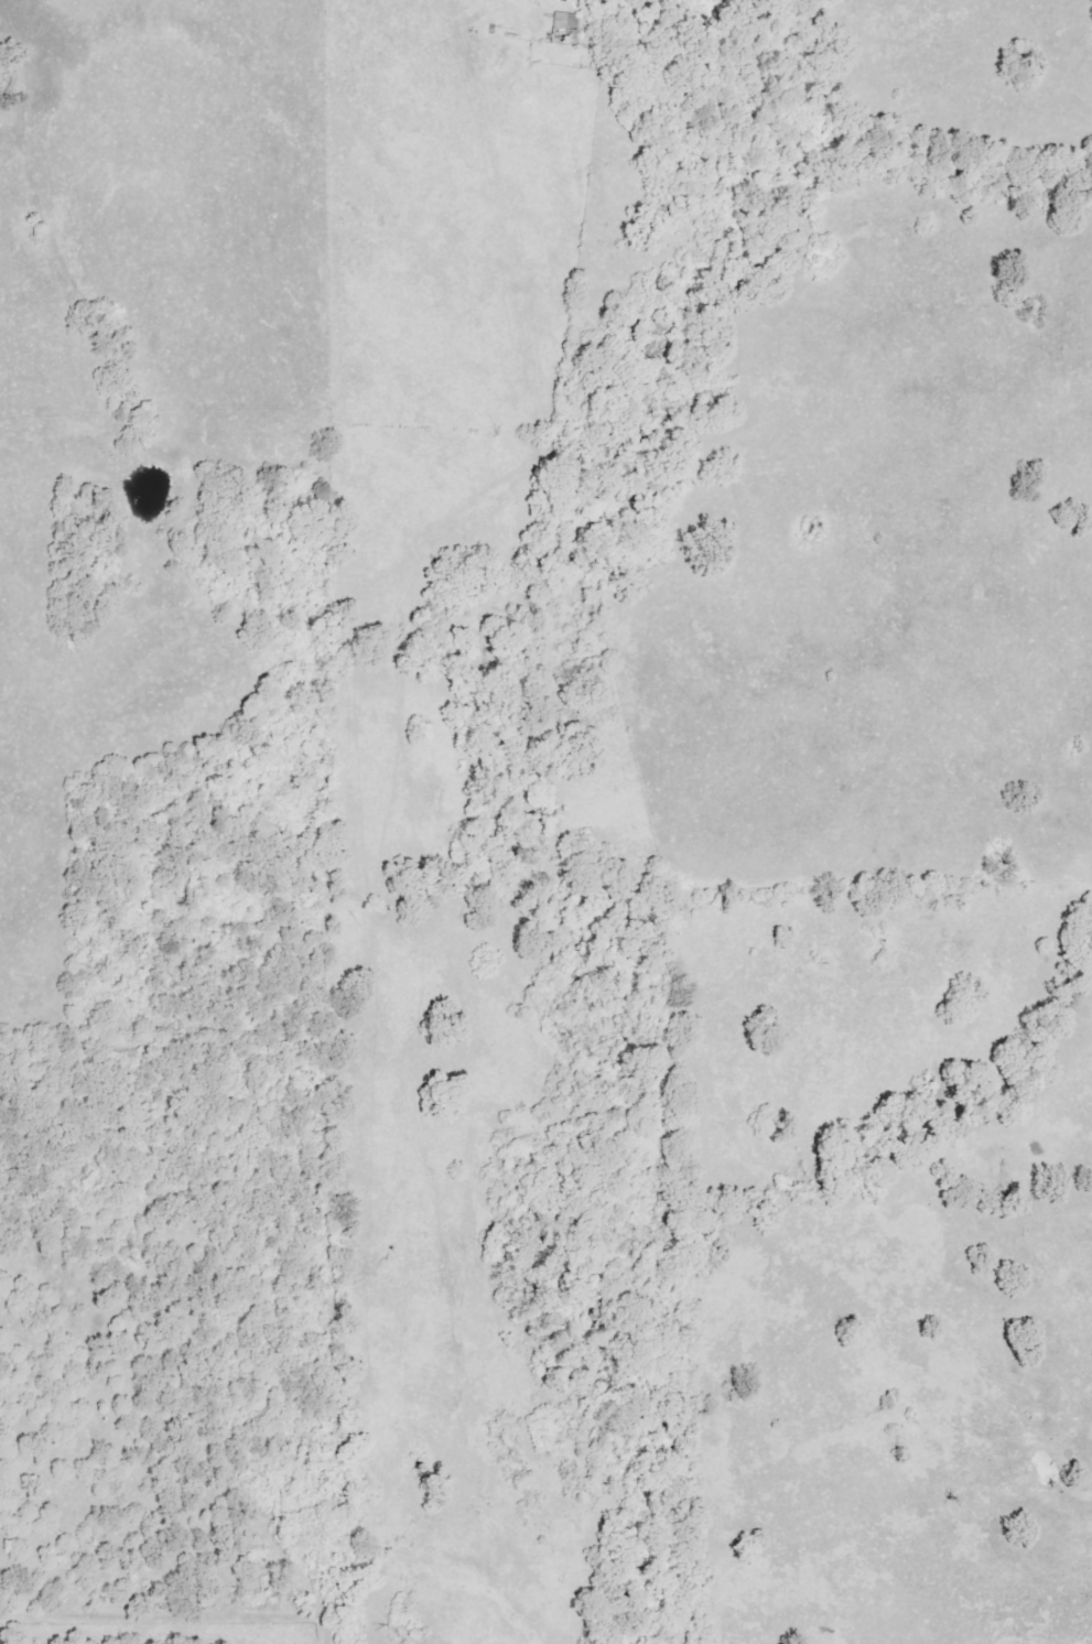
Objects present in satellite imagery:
building: (567, 28)

